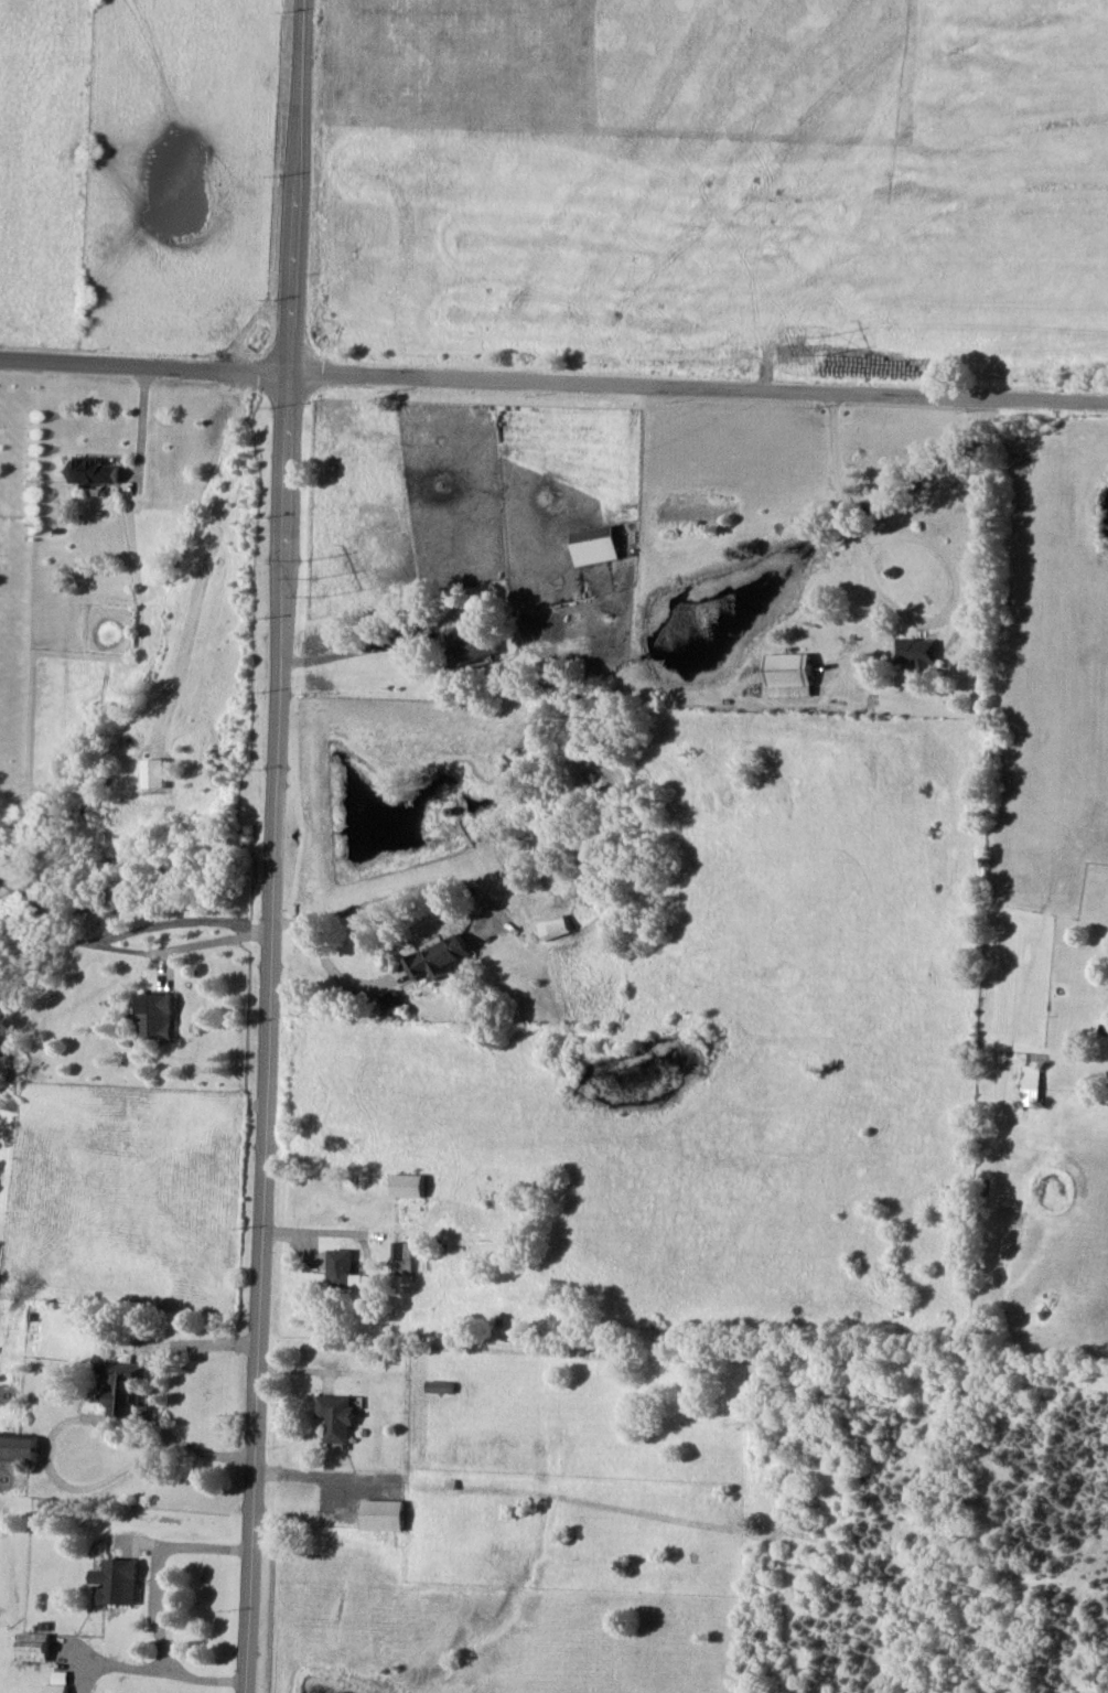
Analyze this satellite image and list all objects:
power tower: (822, 344)
road: (553, 383)
building: (93, 470)
building: (596, 545)
power tower: (318, 571)
road: (893, 593)
building: (472, 644)
building: (919, 651)
road: (347, 652)
building: (792, 674)
building: (154, 772)
road: (275, 846)
road: (423, 887)
road: (175, 922)
road: (291, 923)
building: (555, 926)
road: (64, 935)
road: (212, 943)
building: (438, 957)
road: (340, 972)
building: (394, 998)
building: (159, 1015)
building: (1032, 1084)
building: (406, 1255)
building: (345, 1268)
building: (128, 1387)
road: (158, 1391)
building: (340, 1416)
building: (19, 1446)
road: (323, 1478)
building: (384, 1514)
building: (119, 1581)
road: (157, 1604)
building: (35, 1646)

